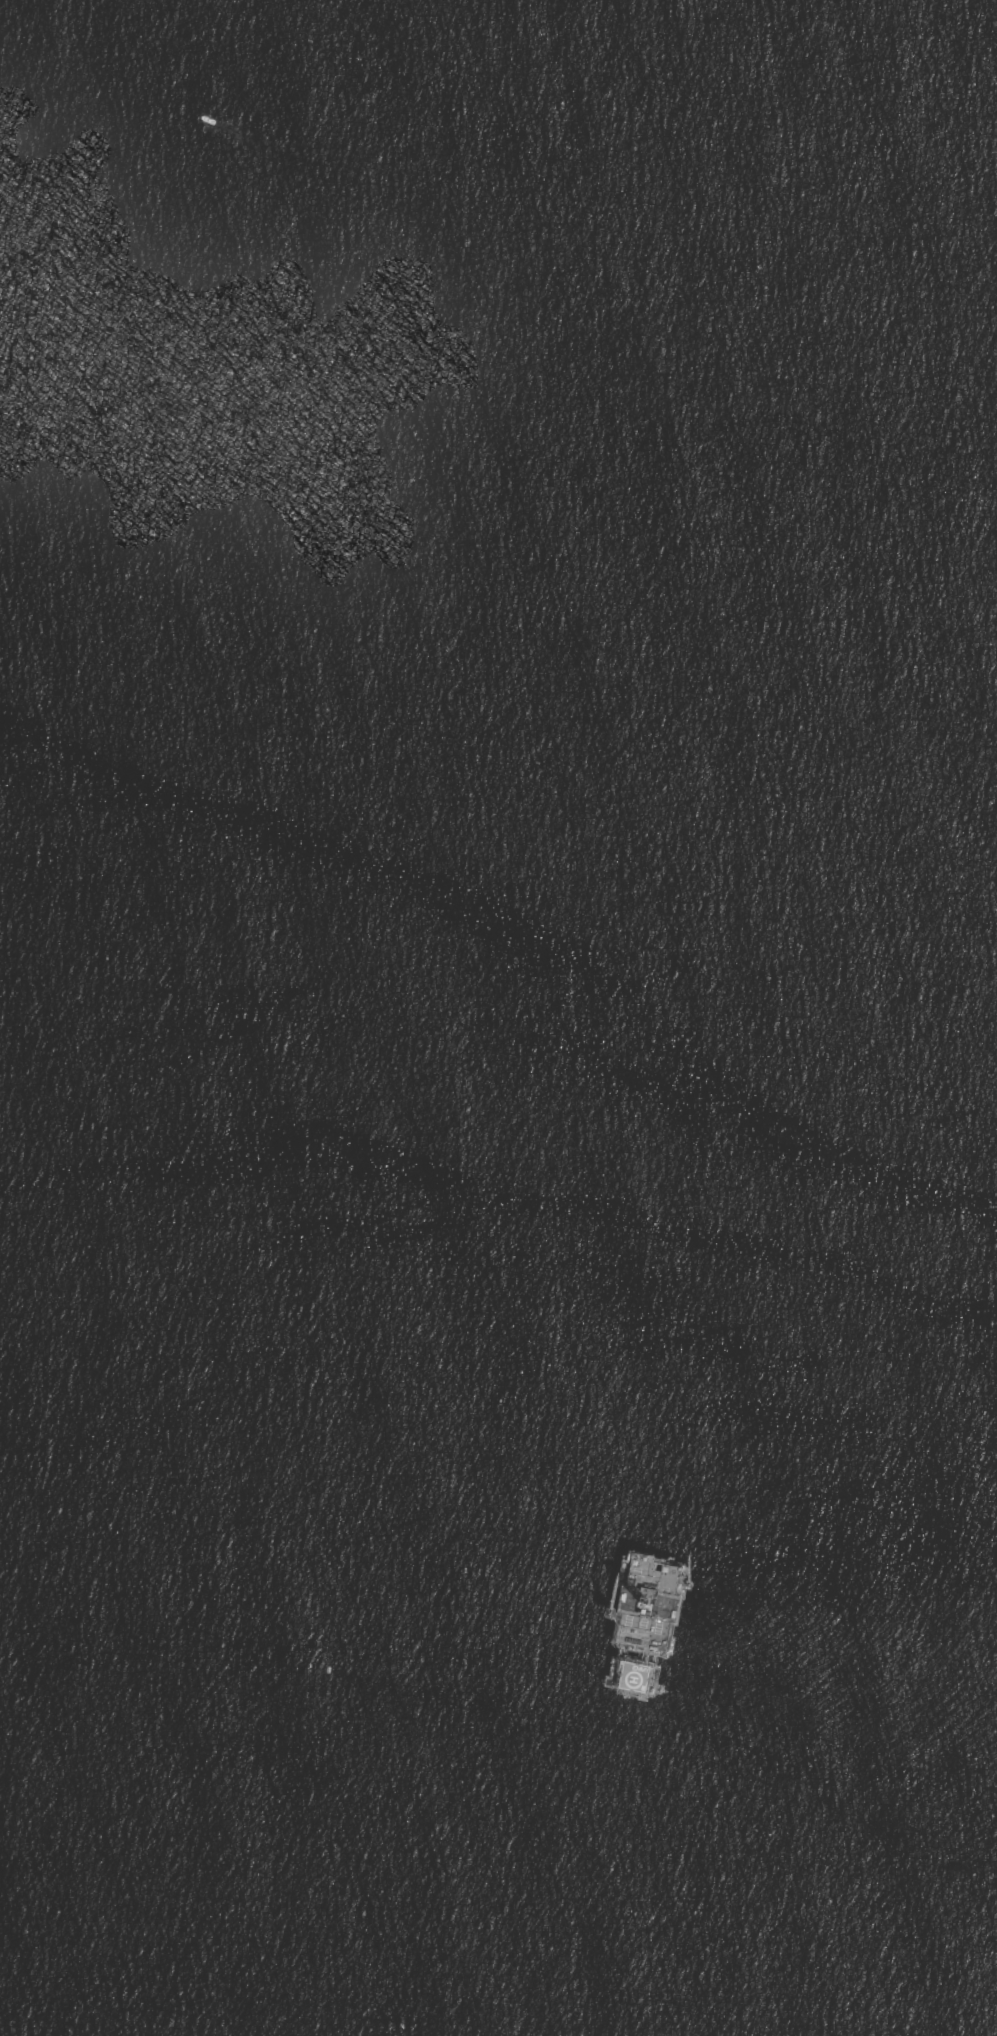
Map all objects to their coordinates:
offshore platform: (628, 1632)
offshore platform: (644, 1632)
building: (660, 1634)
helipad: (641, 1681)

